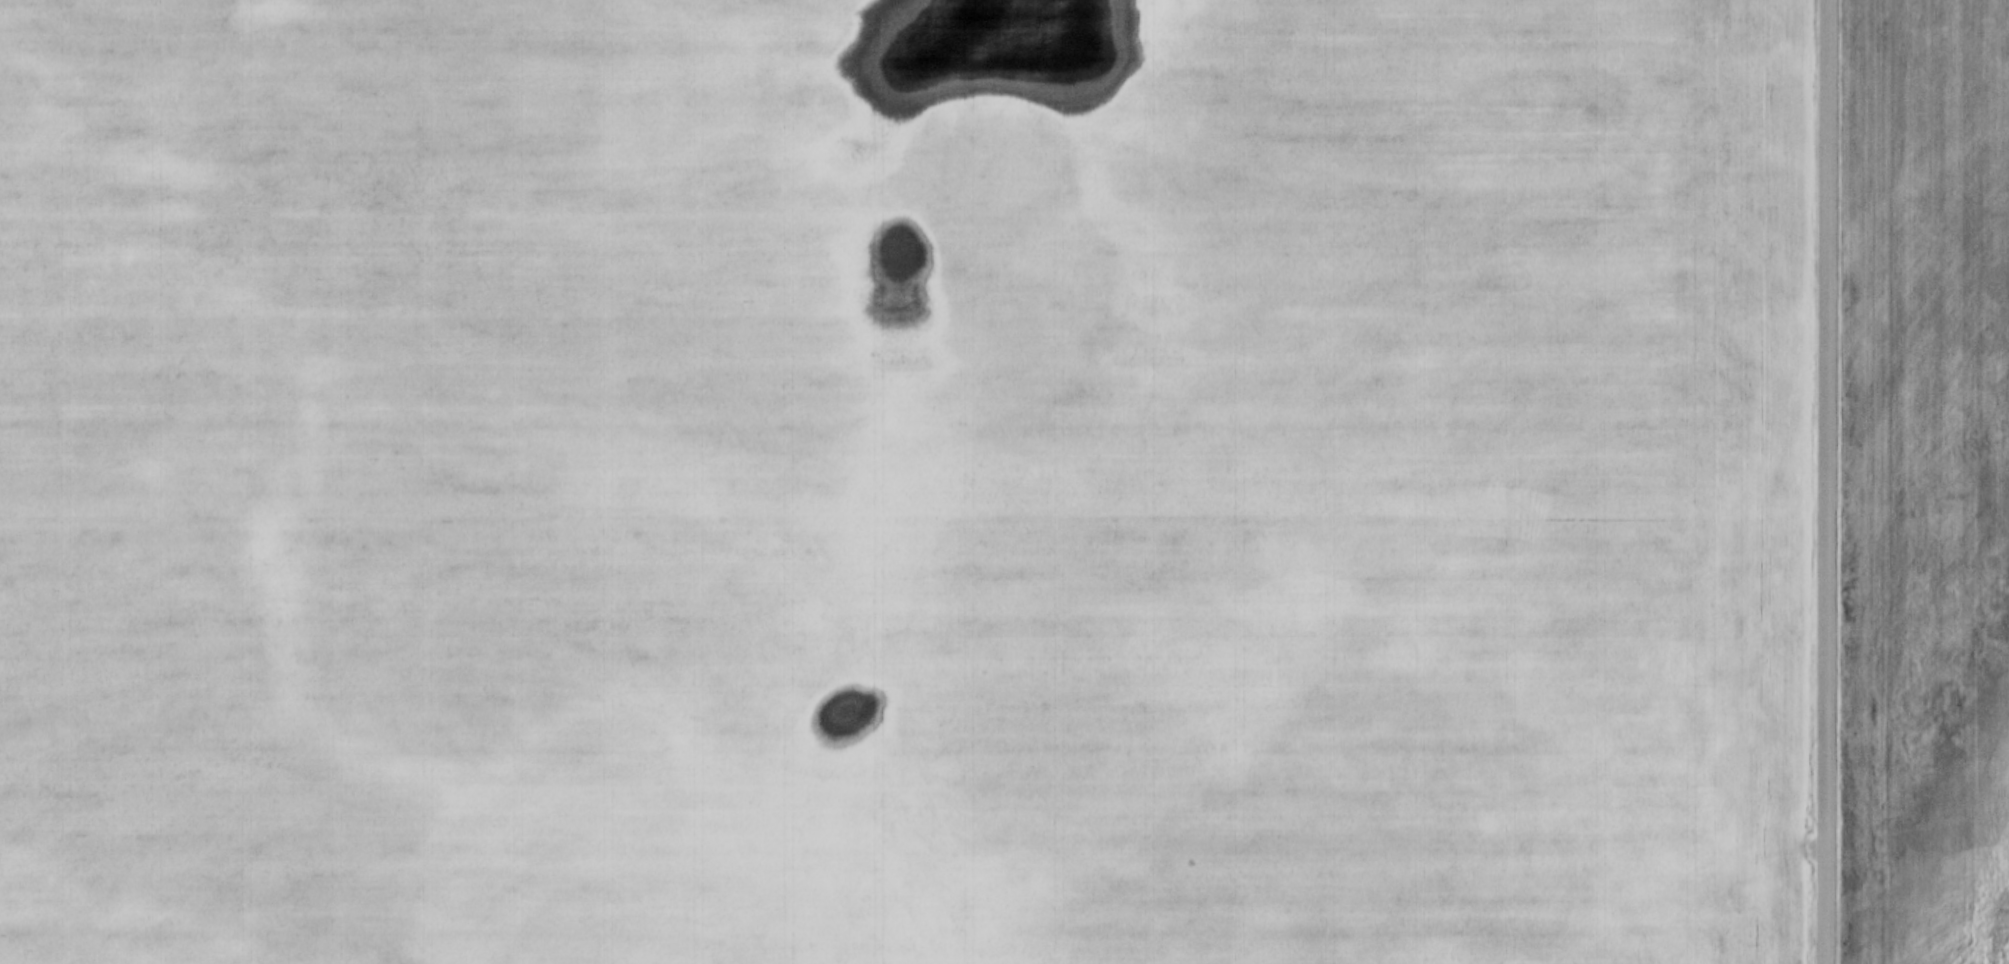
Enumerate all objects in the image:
road: (1825, 482)

